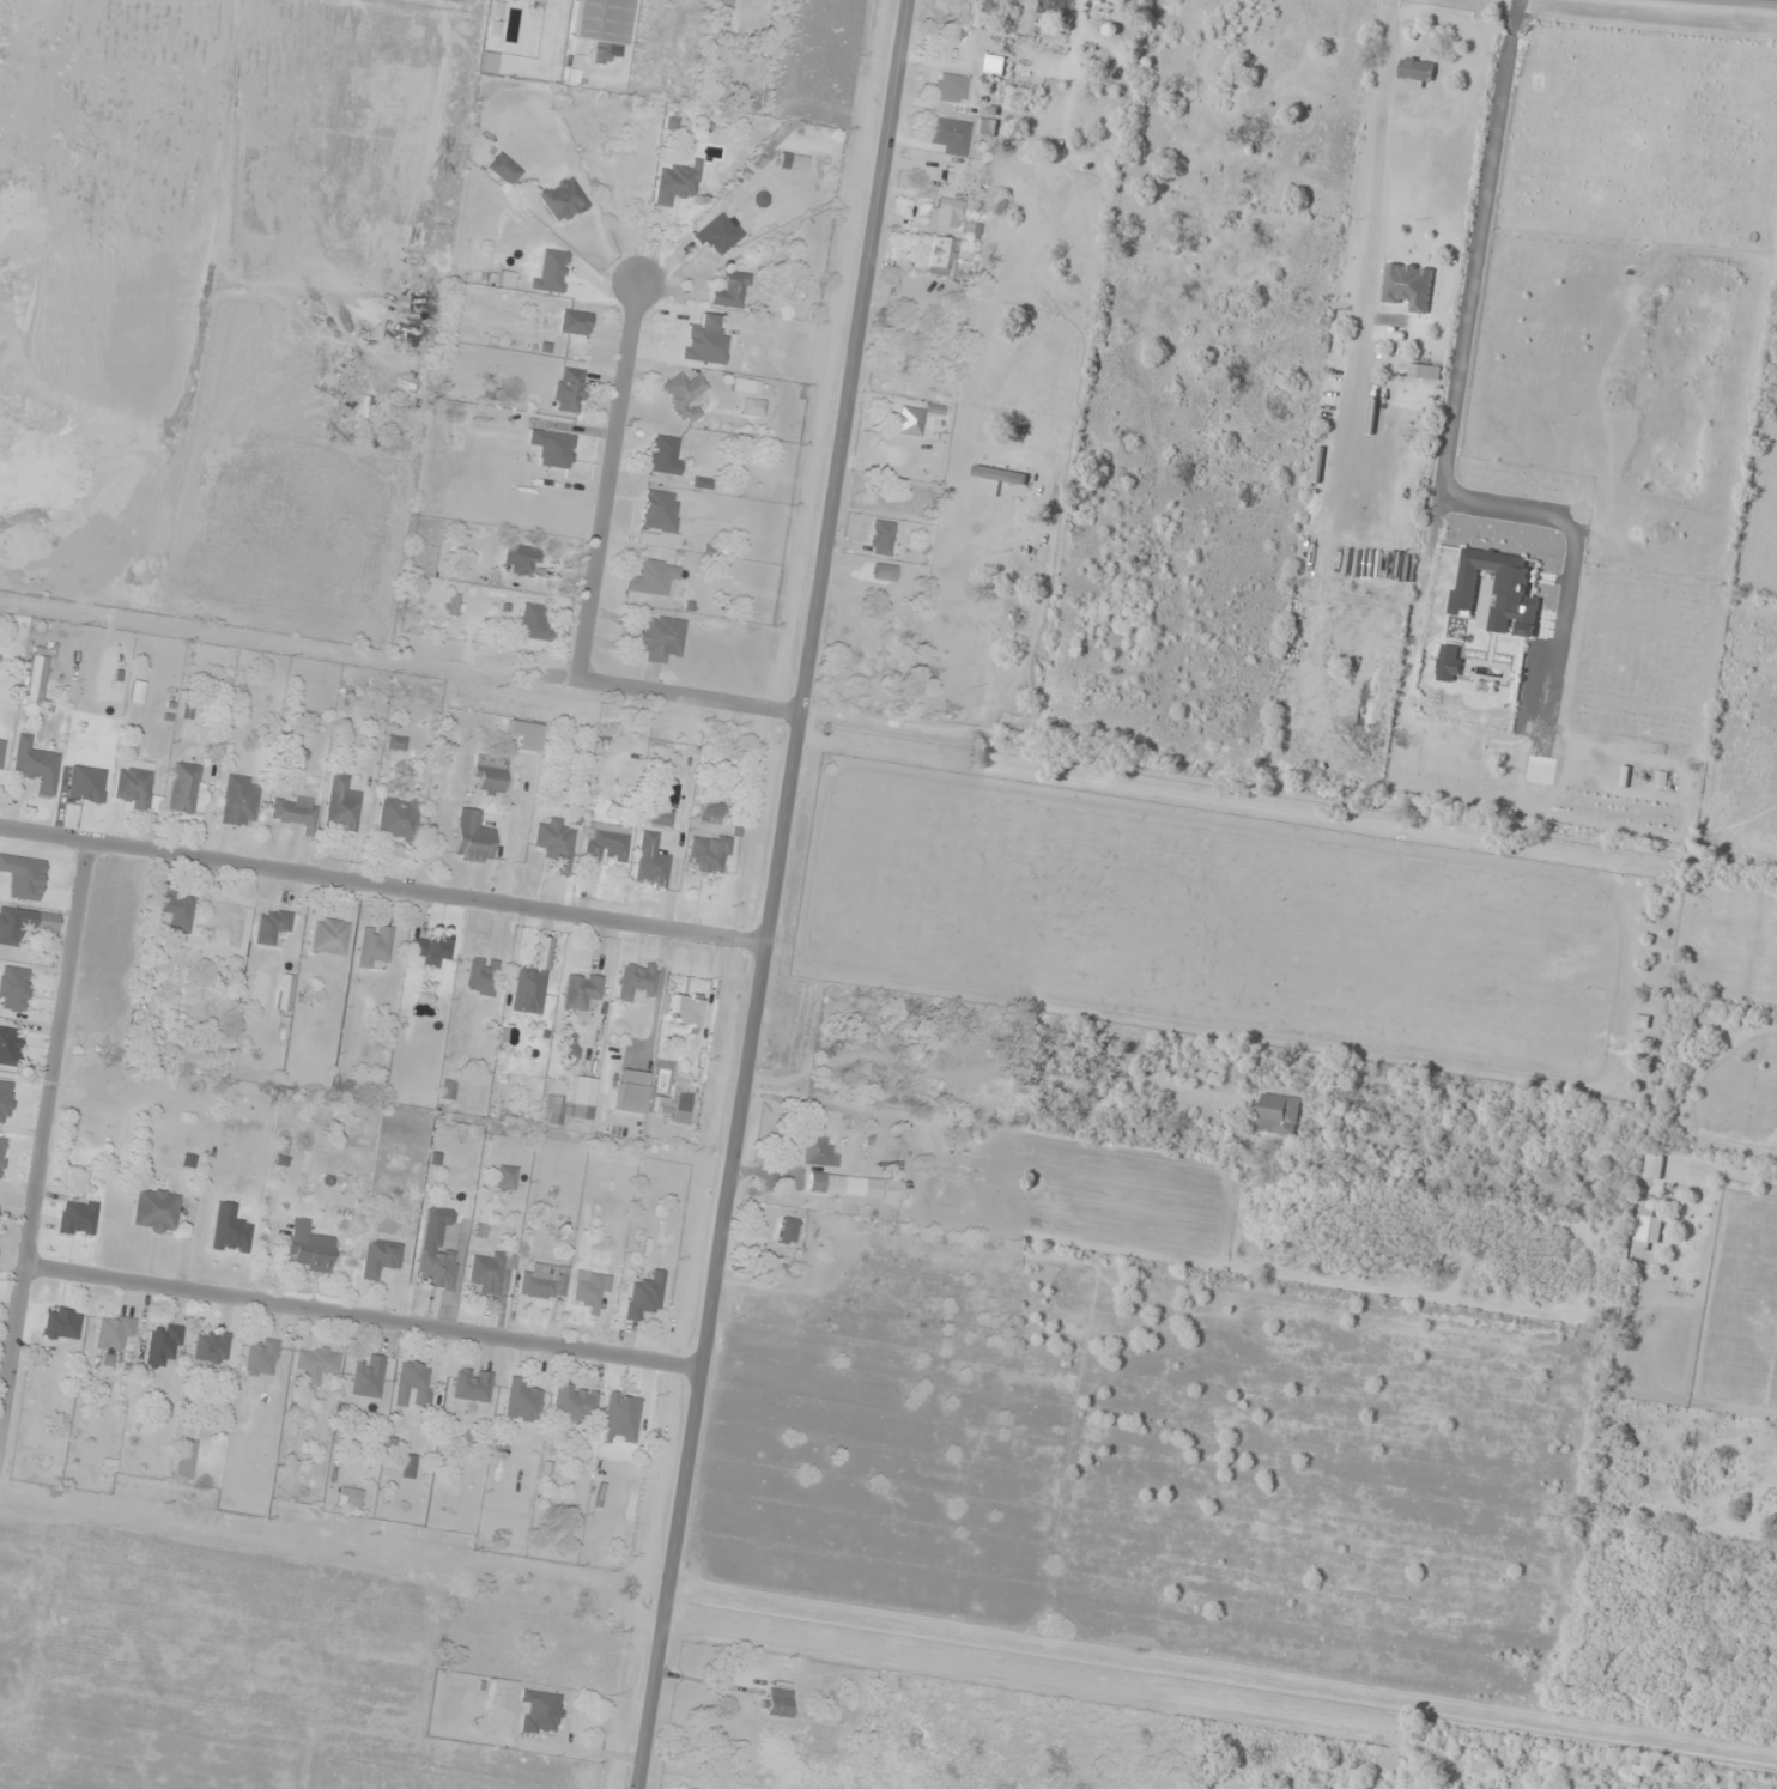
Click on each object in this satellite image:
building: (564, 1)
building: (726, 14)
building: (604, 25)
building: (1418, 73)
building: (952, 87)
building: (1184, 90)
building: (987, 128)
building: (951, 135)
building: (793, 162)
building: (504, 169)
building: (677, 183)
building: (565, 199)
building: (947, 212)
building: (720, 234)
building: (940, 254)
building: (1409, 285)
building: (733, 291)
building: (576, 322)
building: (1425, 372)
building: (570, 390)
building: (683, 392)
building: (753, 407)
building: (1414, 432)
building: (665, 455)
building: (1000, 477)
road: (607, 480)
building: (660, 513)
building: (880, 538)
building: (521, 559)
building: (654, 577)
building: (453, 604)
building: (533, 621)
building: (661, 638)
building: (37, 680)
road: (687, 695)
building: (526, 735)
building: (1, 753)
building: (36, 766)
building: (490, 775)
building: (133, 786)
building: (183, 788)
building: (238, 801)
building: (342, 803)
building: (296, 811)
building: (710, 814)
building: (656, 817)
building: (399, 818)
building: (473, 836)
building: (607, 842)
building: (556, 844)
building: (708, 854)
building: (651, 861)
building: (23, 877)
road: (382, 881)
road: (771, 893)
building: (176, 912)
building: (23, 922)
building: (272, 926)
building: (329, 936)
building: (375, 946)
building: (431, 951)
building: (481, 977)
building: (637, 982)
building: (528, 989)
building: (580, 990)
building: (683, 1012)
building: (10, 1047)
building: (630, 1091)
building: (572, 1103)
building: (1276, 1115)
building: (963, 1138)
road: (40, 1139)
building: (1, 1154)
building: (826, 1165)
building: (1654, 1170)
building: (507, 1177)
building: (156, 1209)
building: (78, 1217)
building: (1648, 1229)
building: (309, 1245)
building: (769, 1251)
building: (381, 1257)
building: (436, 1268)
building: (489, 1272)
building: (546, 1280)
building: (592, 1290)
building: (645, 1296)
road: (359, 1317)
building: (62, 1323)
building: (114, 1335)
building: (163, 1345)
building: (212, 1348)
building: (261, 1357)
building: (317, 1363)
building: (369, 1376)
building: (413, 1384)
building: (473, 1384)
building: (520, 1402)
building: (575, 1403)
building: (186, 1459)
building: (350, 1497)
building: (780, 1703)
building: (540, 1711)

